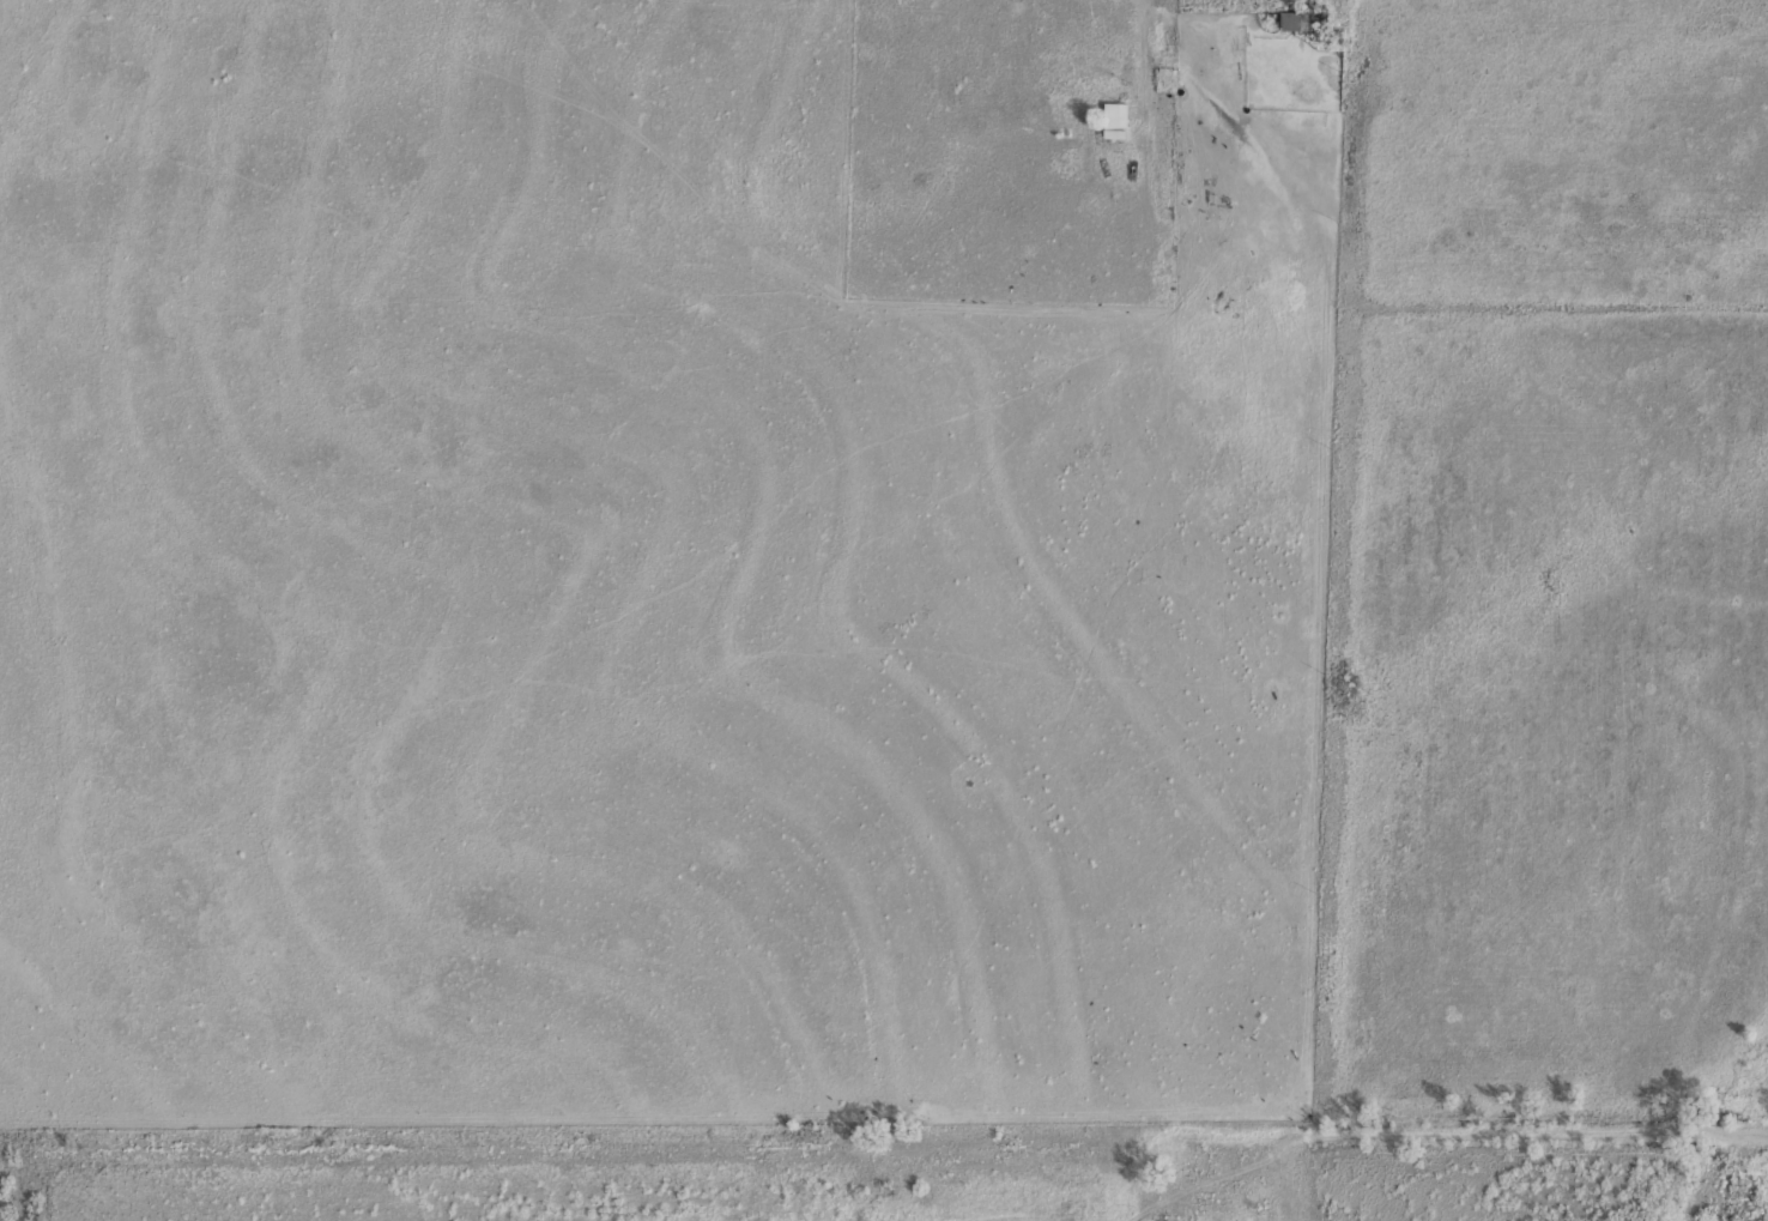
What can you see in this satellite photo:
building: (1297, 24)
building: (1089, 58)
building: (1108, 131)
road: (1544, 1130)

